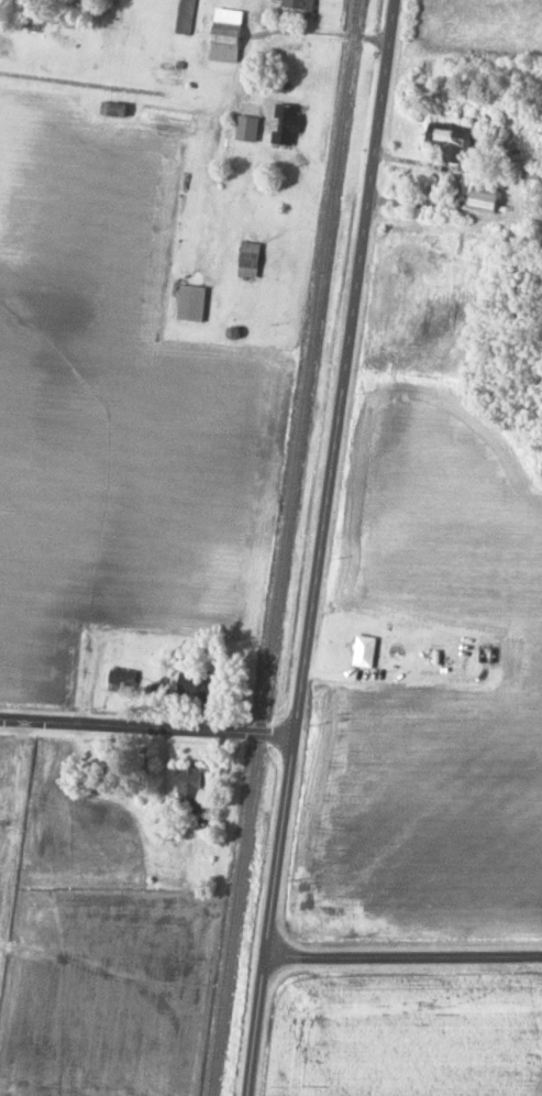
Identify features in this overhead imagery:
building: (295, 4)
building: (186, 17)
building: (228, 43)
building: (172, 74)
building: (117, 109)
building: (285, 124)
building: (452, 141)
building: (532, 178)
building: (486, 199)
building: (251, 259)
building: (193, 303)
railway: (283, 547)
road: (317, 547)
building: (367, 650)
building: (487, 653)
building: (123, 676)
building: (192, 683)
road: (145, 726)
building: (89, 778)
building: (193, 785)
road: (402, 955)

